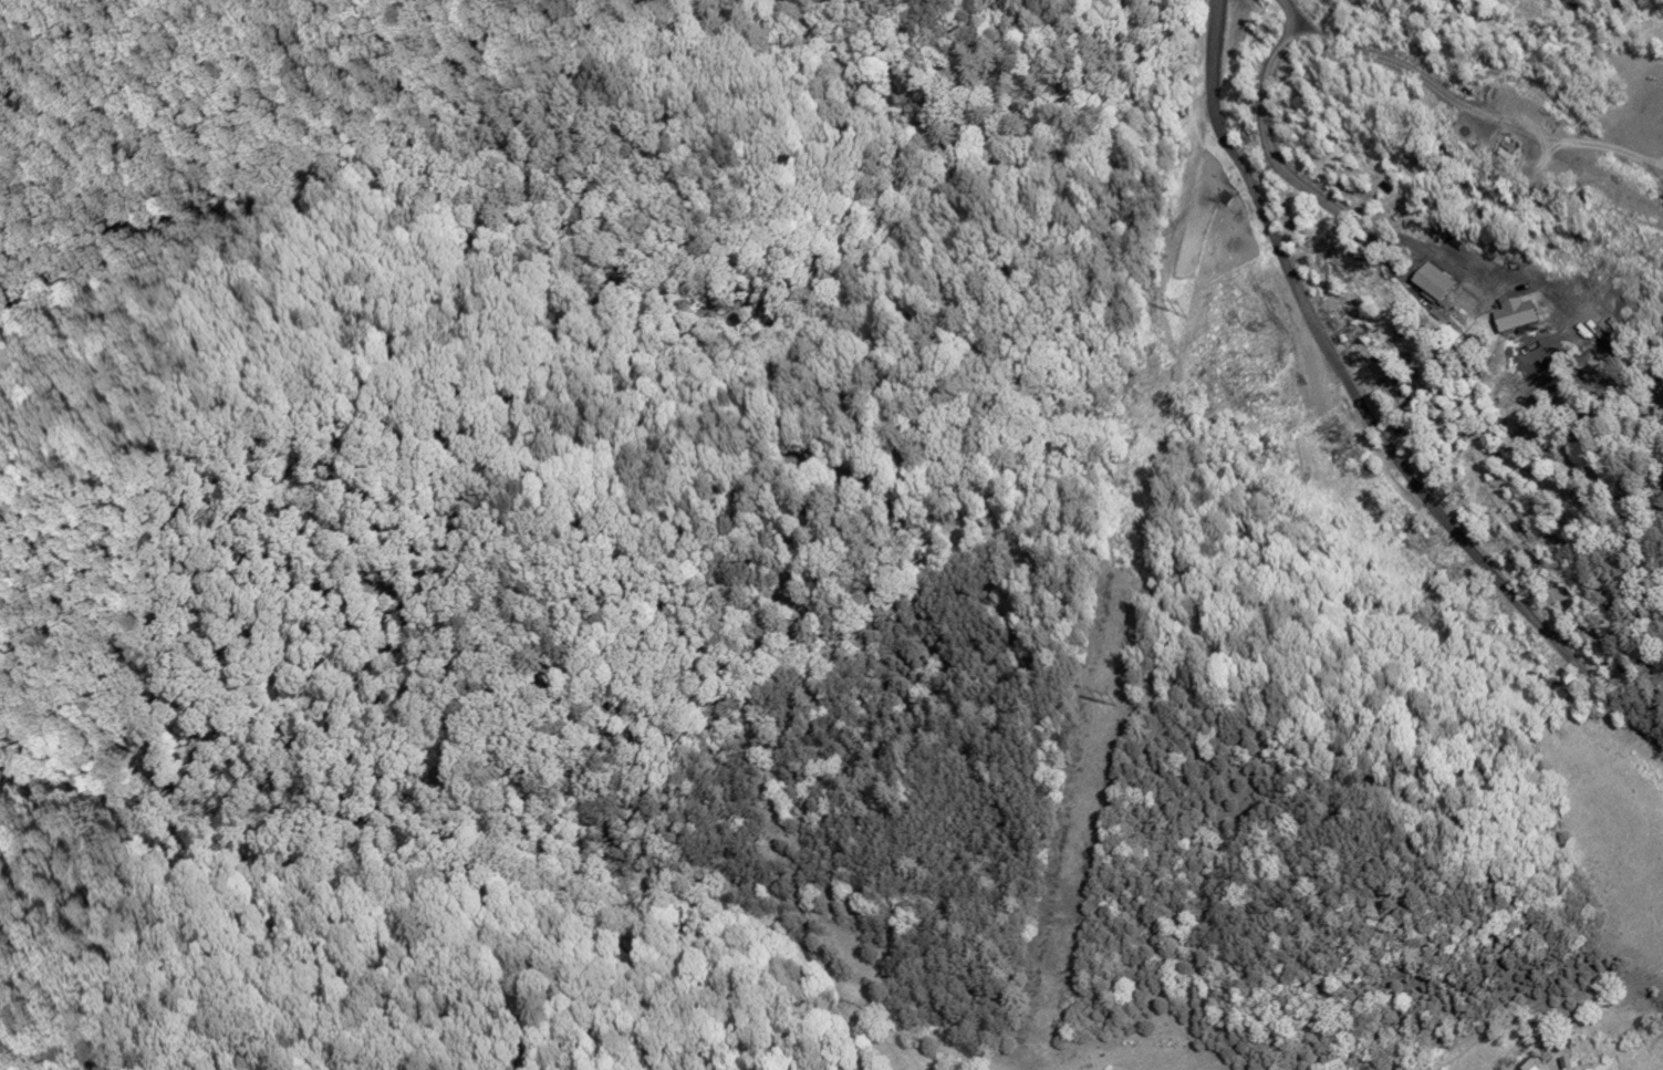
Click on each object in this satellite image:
road: (1371, 409)
building: (1545, 1055)
building: (1566, 1063)
building: (1528, 1066)

